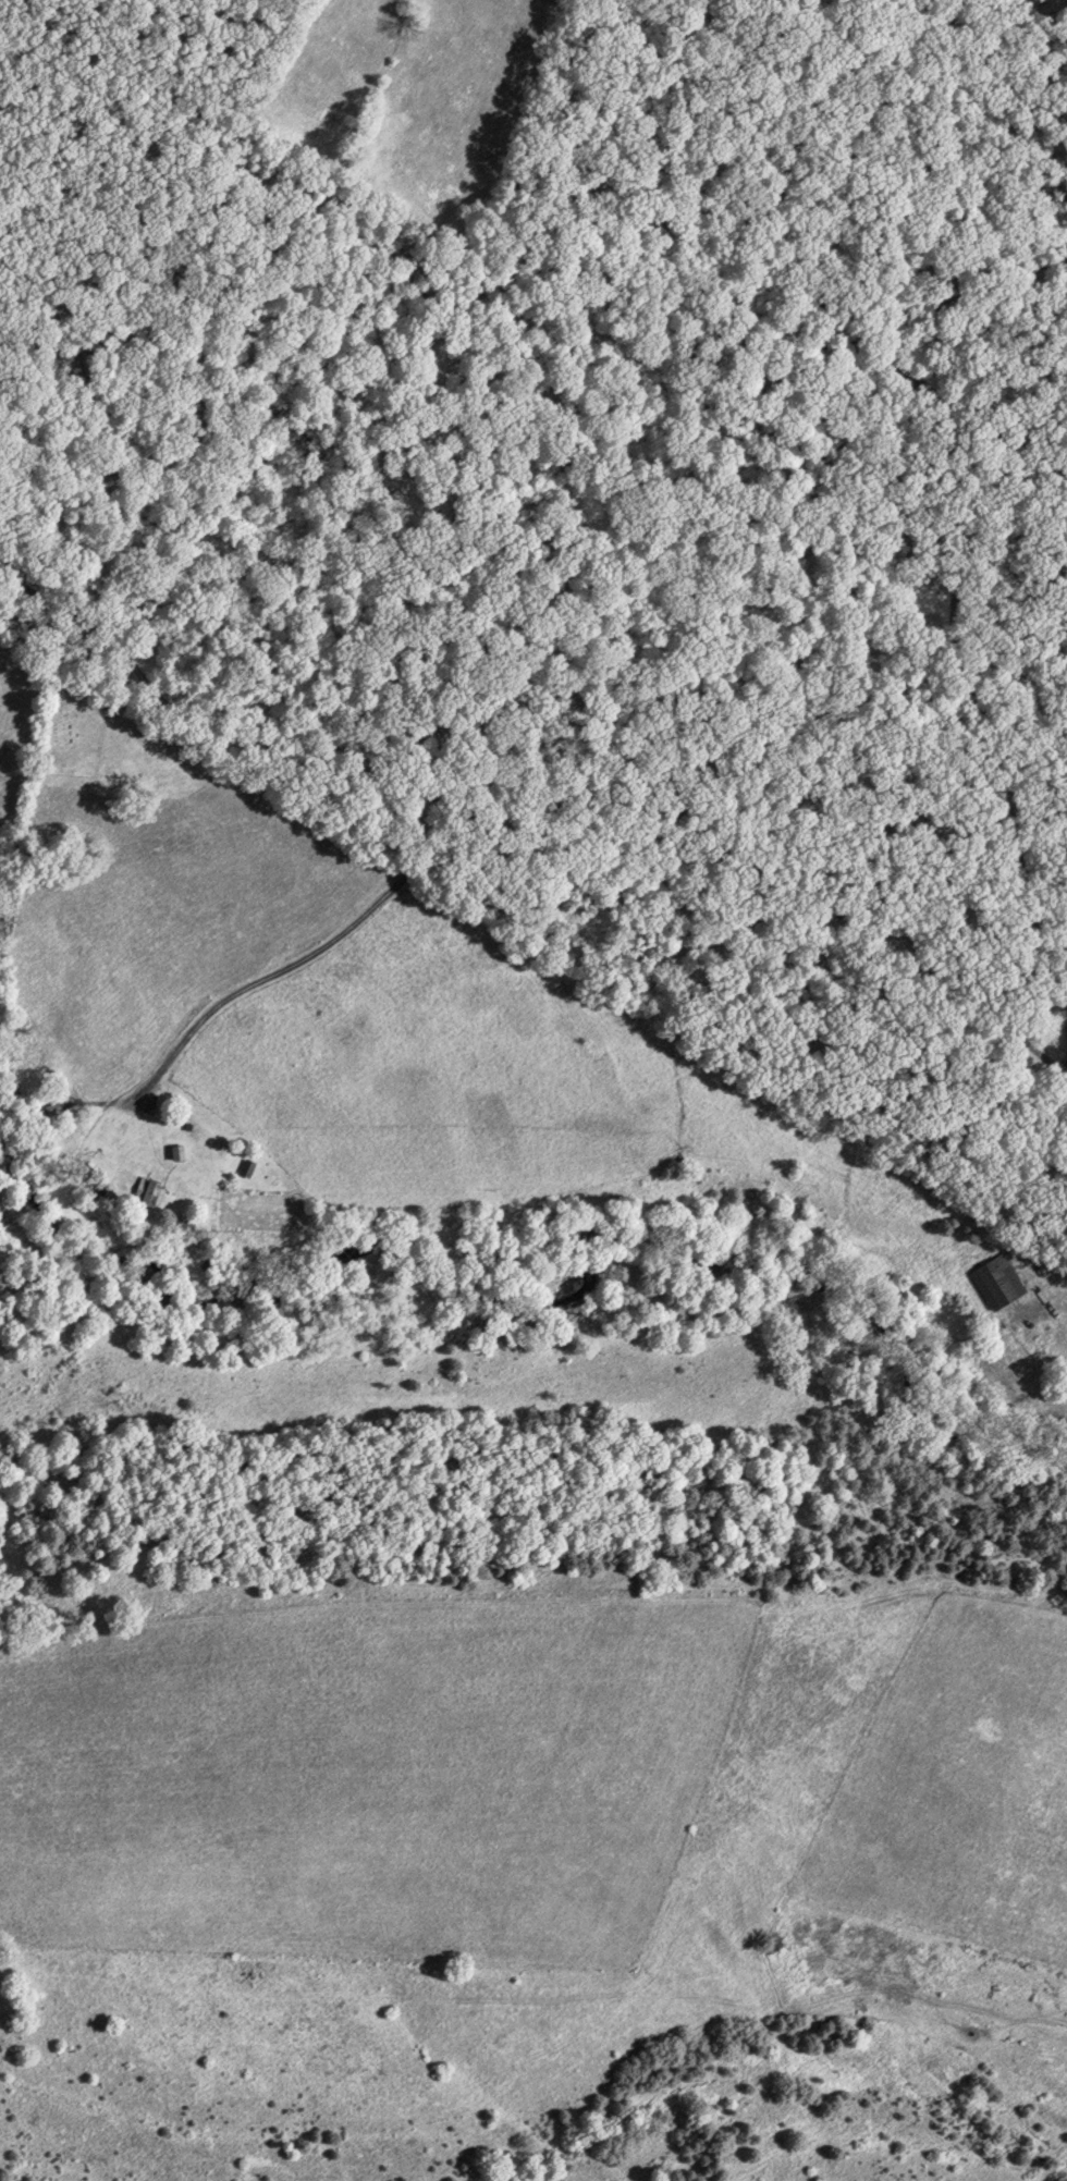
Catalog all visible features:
building: (183, 1152)
building: (155, 1190)
building: (1002, 1282)

